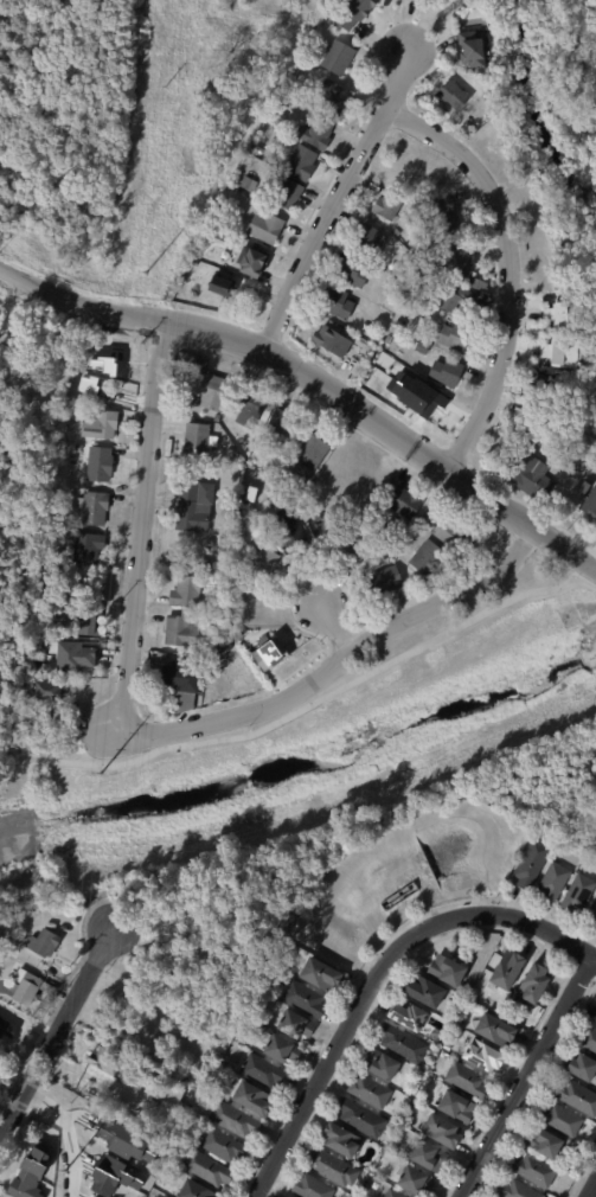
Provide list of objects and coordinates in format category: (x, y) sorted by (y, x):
building: (357, 12)
road: (379, 41)
building: (474, 50)
building: (340, 57)
building: (455, 92)
building: (337, 98)
building: (494, 103)
building: (278, 119)
road: (360, 123)
building: (320, 133)
building: (305, 162)
building: (532, 167)
building: (251, 184)
building: (538, 187)
building: (290, 194)
road: (334, 198)
building: (390, 206)
building: (544, 207)
building: (447, 215)
building: (269, 228)
building: (397, 232)
building: (373, 239)
building: (438, 249)
building: (468, 262)
building: (257, 263)
building: (196, 264)
road: (510, 268)
building: (357, 271)
building: (222, 286)
building: (461, 302)
building: (341, 303)
building: (565, 313)
road: (69, 318)
building: (566, 329)
building: (455, 337)
building: (389, 339)
road: (159, 340)
building: (334, 341)
building: (562, 346)
building: (424, 347)
building: (448, 372)
road: (315, 380)
building: (582, 386)
building: (544, 388)
building: (211, 391)
building: (254, 407)
building: (59, 416)
building: (218, 417)
building: (103, 424)
building: (536, 427)
building: (283, 429)
building: (592, 437)
building: (200, 440)
building: (316, 450)
building: (232, 453)
building: (102, 463)
building: (577, 463)
building: (207, 468)
building: (194, 471)
building: (274, 472)
building: (532, 473)
building: (282, 476)
building: (294, 482)
building: (588, 488)
building: (291, 497)
building: (405, 503)
road: (464, 504)
building: (591, 504)
road: (526, 505)
building: (197, 506)
building: (96, 507)
building: (438, 512)
building: (319, 519)
building: (430, 524)
road: (140, 526)
building: (294, 531)
building: (460, 536)
road: (521, 542)
building: (88, 546)
building: (351, 551)
building: (430, 556)
building: (382, 557)
building: (268, 562)
building: (205, 564)
building: (243, 567)
building: (220, 568)
road: (565, 568)
building: (385, 581)
building: (79, 591)
building: (188, 593)
building: (95, 595)
building: (88, 625)
road: (333, 627)
road: (338, 629)
building: (184, 632)
road: (313, 634)
building: (269, 653)
building: (79, 658)
building: (165, 658)
road: (338, 658)
building: (230, 661)
building: (155, 667)
building: (223, 677)
building: (184, 679)
building: (212, 679)
building: (50, 692)
road: (327, 694)
building: (182, 699)
road: (30, 764)
road: (11, 769)
building: (534, 863)
building: (557, 882)
building: (579, 895)
building: (594, 909)
building: (595, 922)
road: (483, 929)
building: (1, 939)
building: (46, 943)
building: (249, 947)
road: (364, 965)
building: (196, 968)
building: (169, 969)
building: (451, 971)
building: (511, 971)
road: (376, 974)
building: (325, 975)
road: (581, 975)
building: (537, 981)
building: (27, 986)
building: (271, 986)
building: (428, 991)
building: (475, 996)
road: (59, 997)
building: (307, 999)
building: (224, 1009)
building: (514, 1009)
building: (412, 1016)
building: (595, 1020)
building: (297, 1025)
building: (11, 1026)
road: (53, 1028)
building: (498, 1028)
building: (590, 1037)
building: (267, 1038)
building: (404, 1043)
building: (449, 1046)
building: (283, 1049)
building: (485, 1055)
building: (105, 1060)
building: (384, 1064)
building: (585, 1068)
building: (265, 1071)
road: (525, 1076)
building: (429, 1081)
building: (469, 1081)
building: (167, 1089)
road: (534, 1089)
building: (372, 1092)
building: (103, 1095)
building: (577, 1096)
building: (256, 1099)
building: (111, 1100)
building: (459, 1106)
building: (364, 1118)
building: (148, 1119)
building: (237, 1119)
building: (564, 1119)
building: (122, 1127)
building: (177, 1128)
road: (65, 1132)
building: (446, 1132)
building: (342, 1139)
building: (547, 1142)
building: (226, 1145)
building: (143, 1151)
building: (430, 1156)
building: (210, 1167)
building: (335, 1167)
road: (581, 1169)
building: (537, 1170)
building: (30, 1171)
building: (110, 1176)
building: (143, 1176)
building: (419, 1182)
building: (315, 1186)
road: (590, 1188)
building: (198, 1190)
building: (518, 1190)
building: (396, 1193)
building: (558, 1193)

